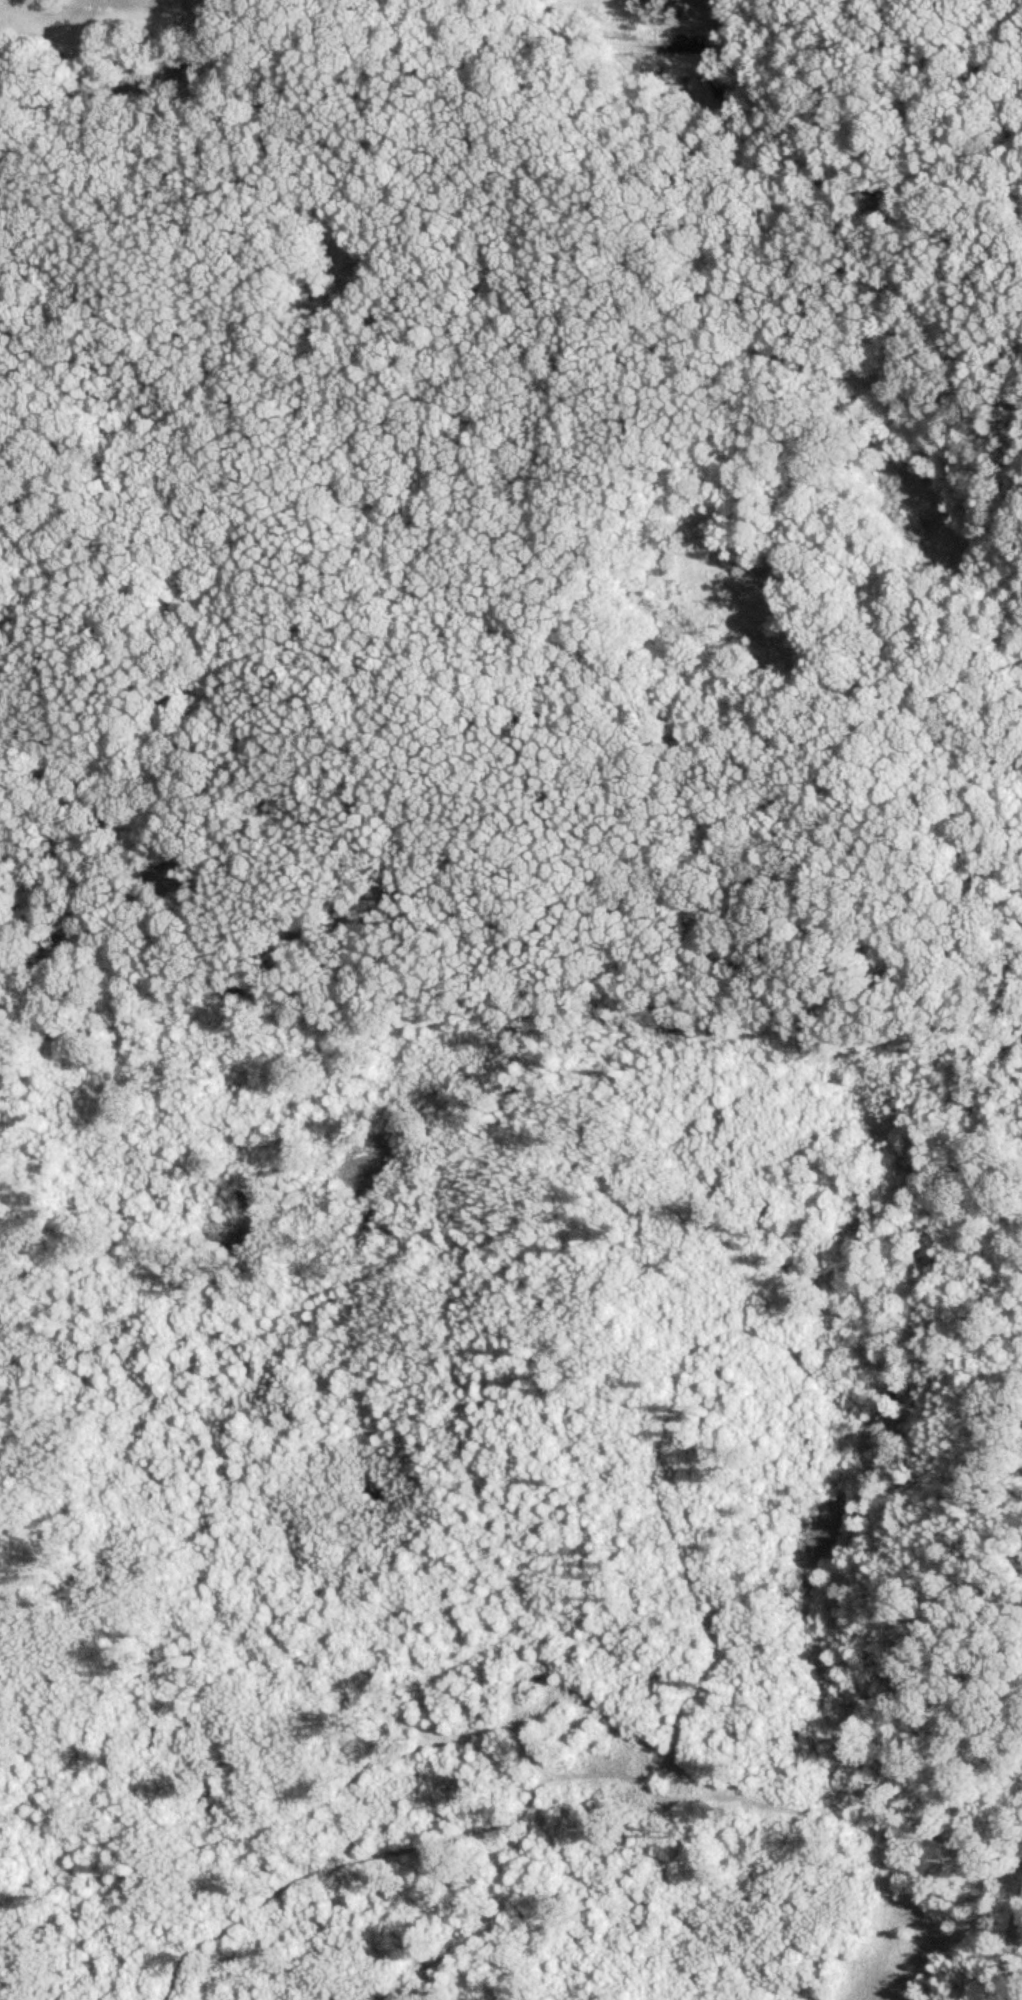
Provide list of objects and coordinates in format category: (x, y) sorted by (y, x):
road: (199, 16)
road: (116, 93)
road: (254, 158)
building: (363, 273)
road: (735, 332)
road: (1011, 1950)

